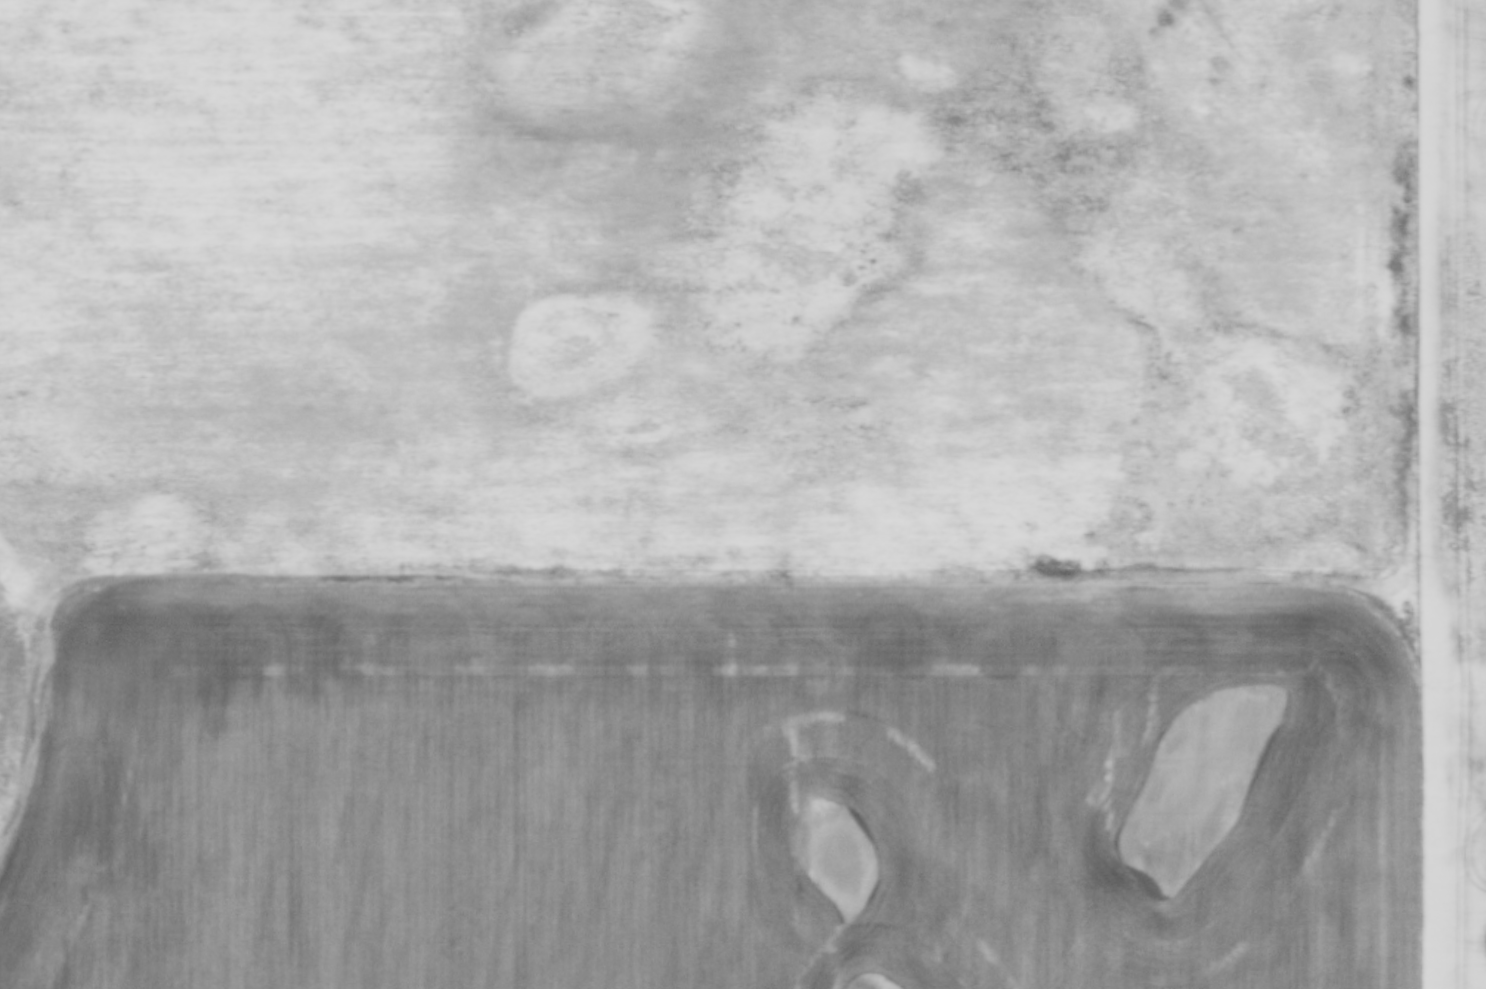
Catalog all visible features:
road: (1417, 763)

